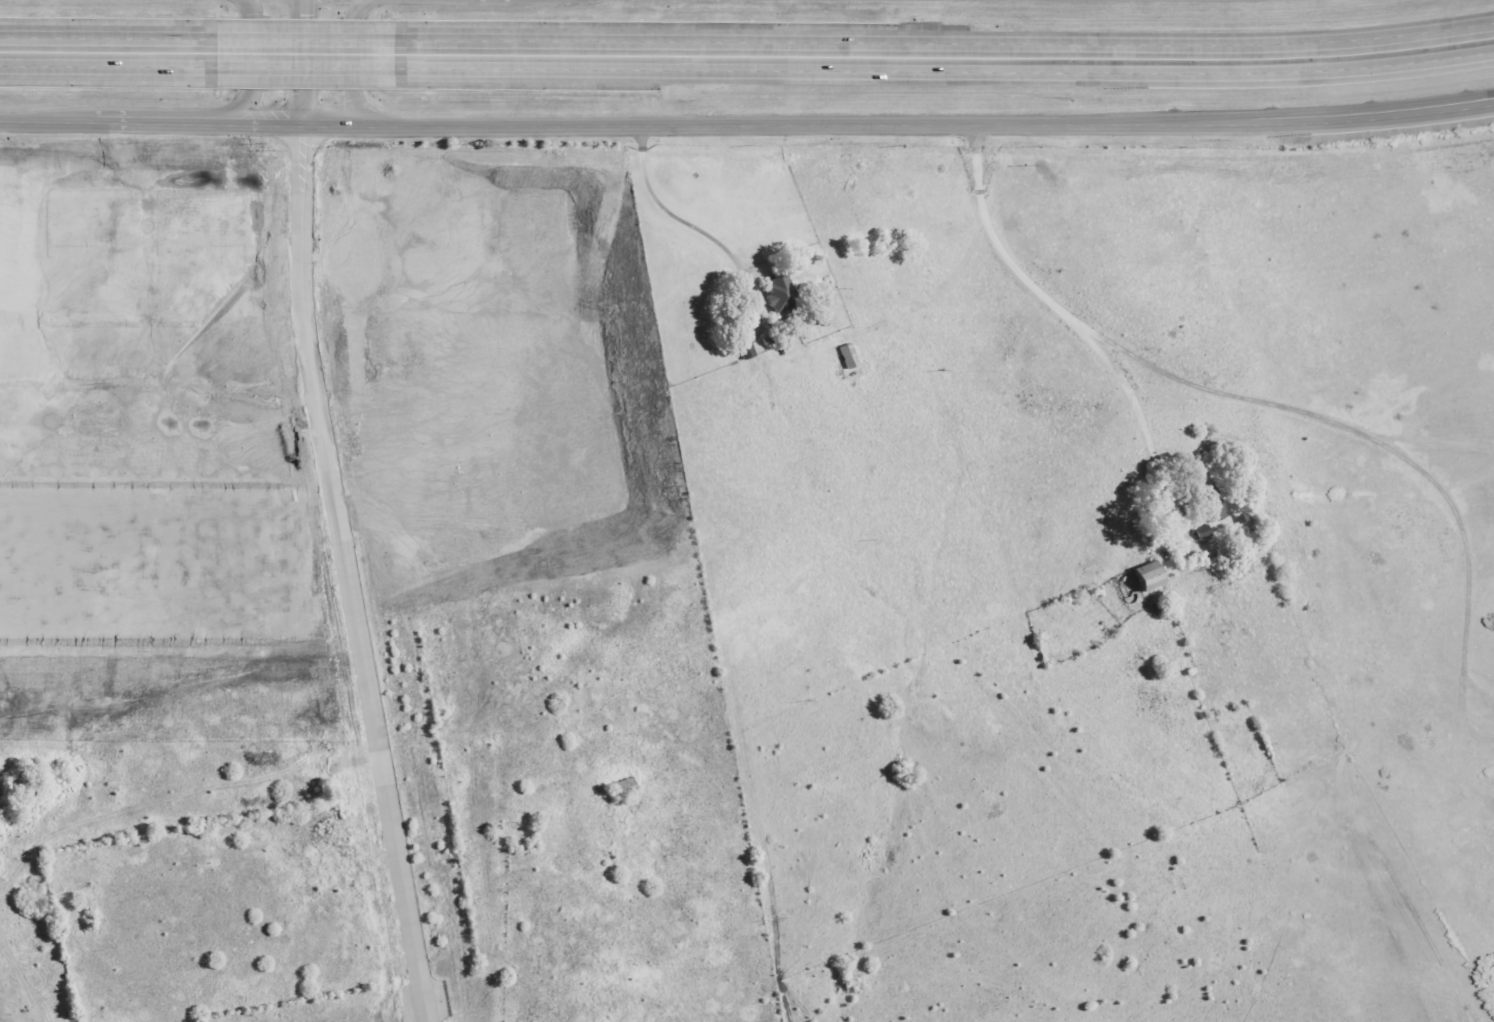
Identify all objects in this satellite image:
road: (108, 33)
road: (305, 34)
road: (945, 41)
road: (301, 63)
road: (108, 71)
road: (306, 72)
road: (945, 74)
road: (351, 75)
road: (251, 78)
road: (1429, 109)
road: (747, 125)
building: (189, 218)
building: (233, 218)
road: (691, 225)
road: (145, 259)
building: (781, 296)
road: (145, 300)
road: (201, 300)
road: (257, 302)
road: (1073, 325)
road: (153, 341)
road: (1275, 407)
road: (9, 413)
road: (50, 413)
road: (87, 413)
road: (126, 413)
road: (161, 414)
road: (197, 414)
road: (234, 415)
road: (275, 415)
road: (164, 486)
building: (1202, 532)
building: (82, 546)
road: (1468, 565)
road: (345, 576)
building: (1148, 577)
road: (178, 631)

